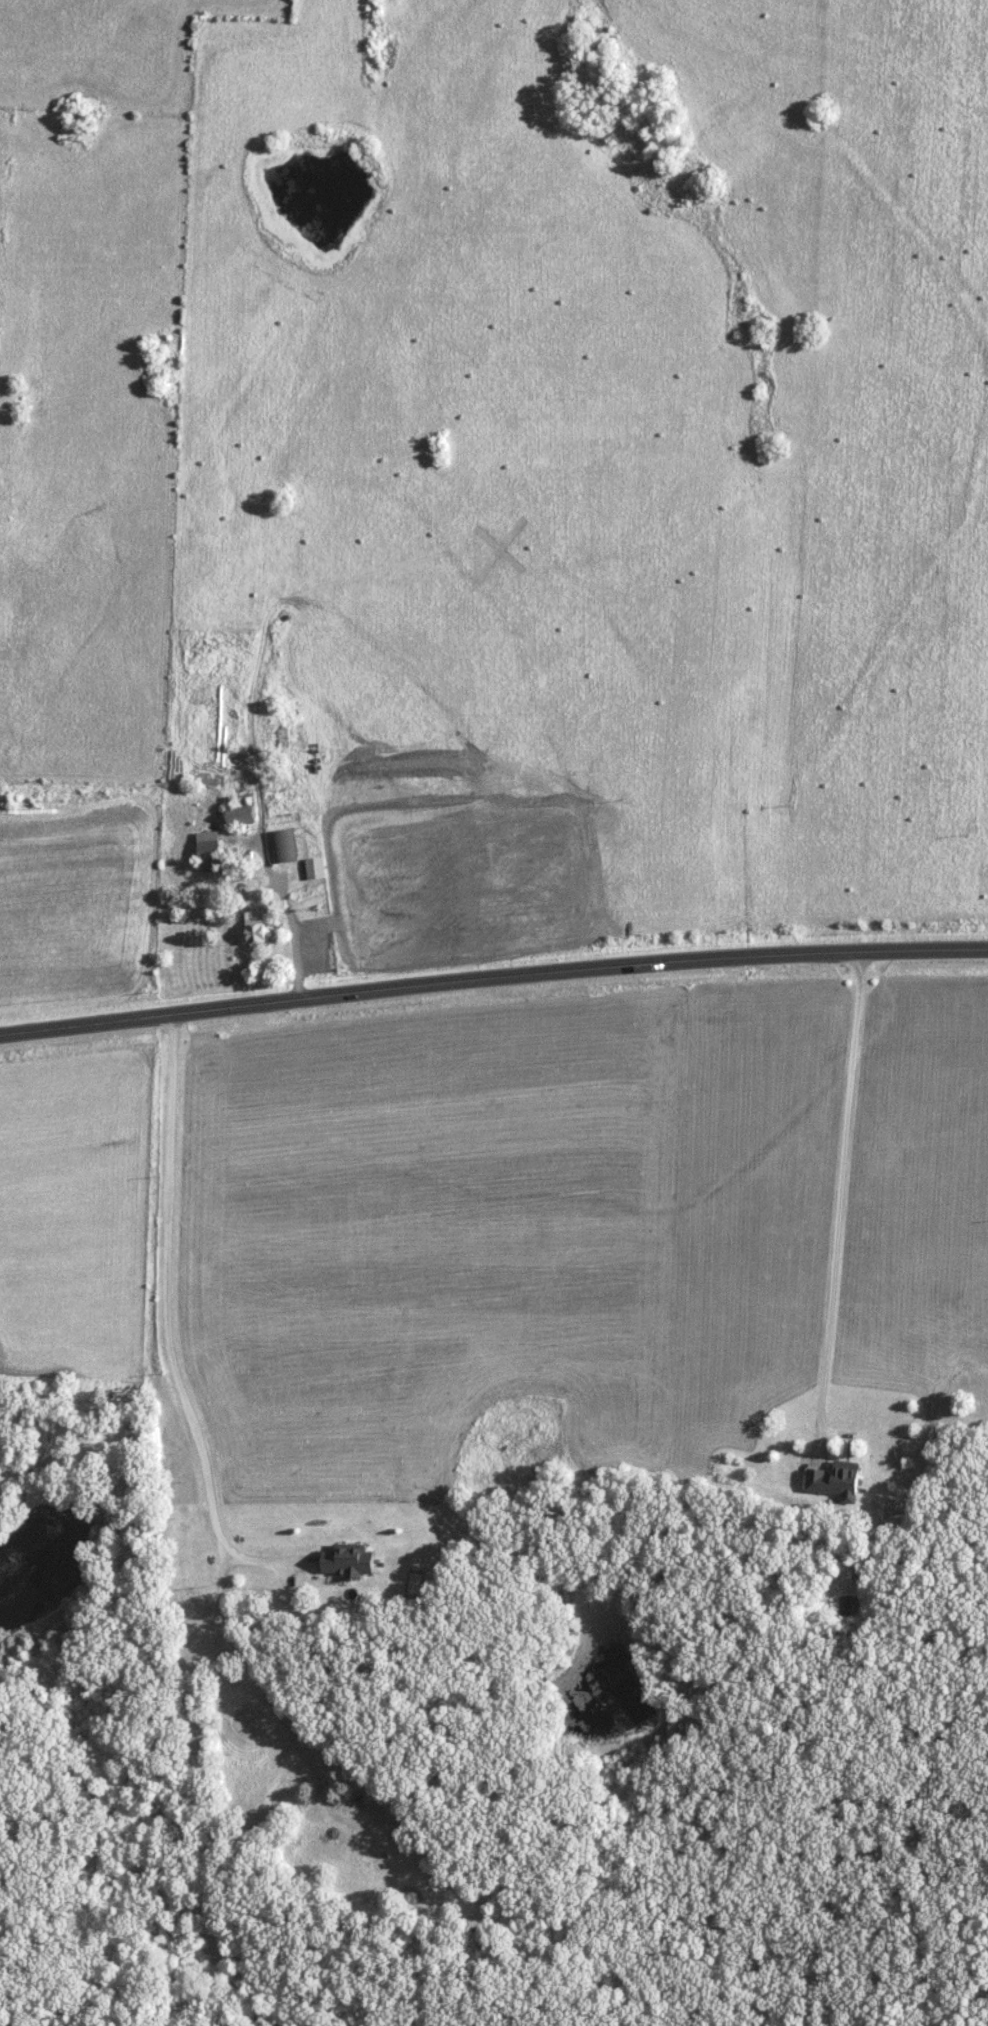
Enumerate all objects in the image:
building: (238, 814)
building: (281, 845)
building: (207, 851)
building: (313, 867)
building: (254, 928)
road: (493, 977)
road: (839, 1195)
road: (167, 1323)
building: (831, 1480)
building: (344, 1559)

